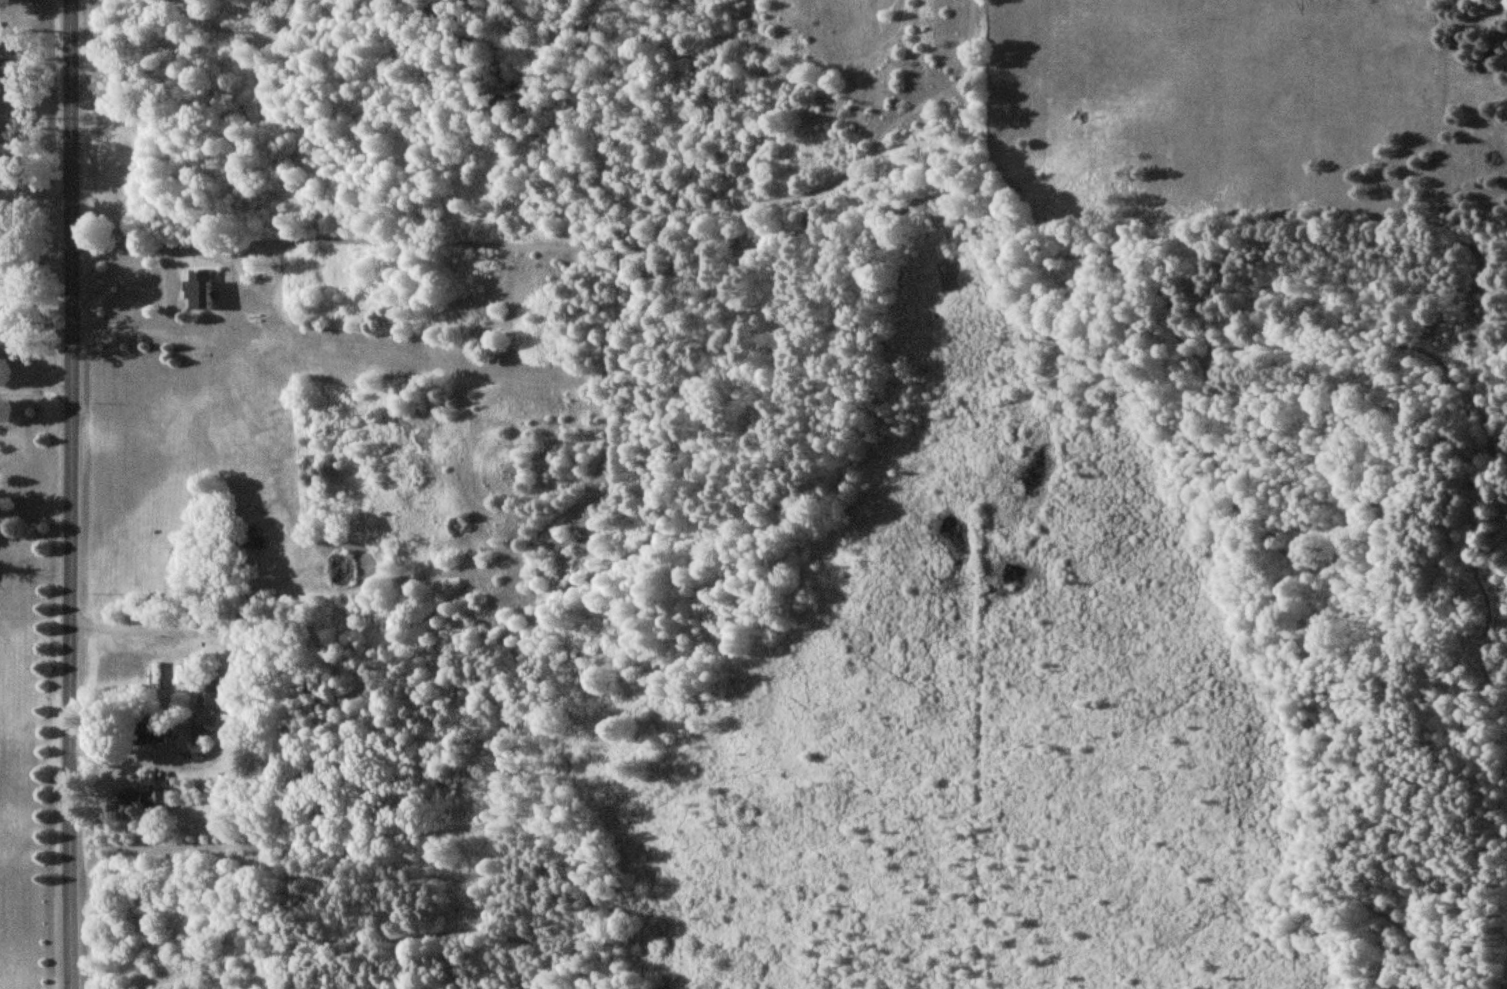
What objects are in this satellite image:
building: (4, 68)
building: (0, 123)
road: (177, 284)
building: (198, 289)
road: (38, 384)
road: (76, 494)
building: (157, 675)
road: (232, 689)
building: (208, 691)
building: (149, 731)
building: (198, 735)
building: (146, 799)

